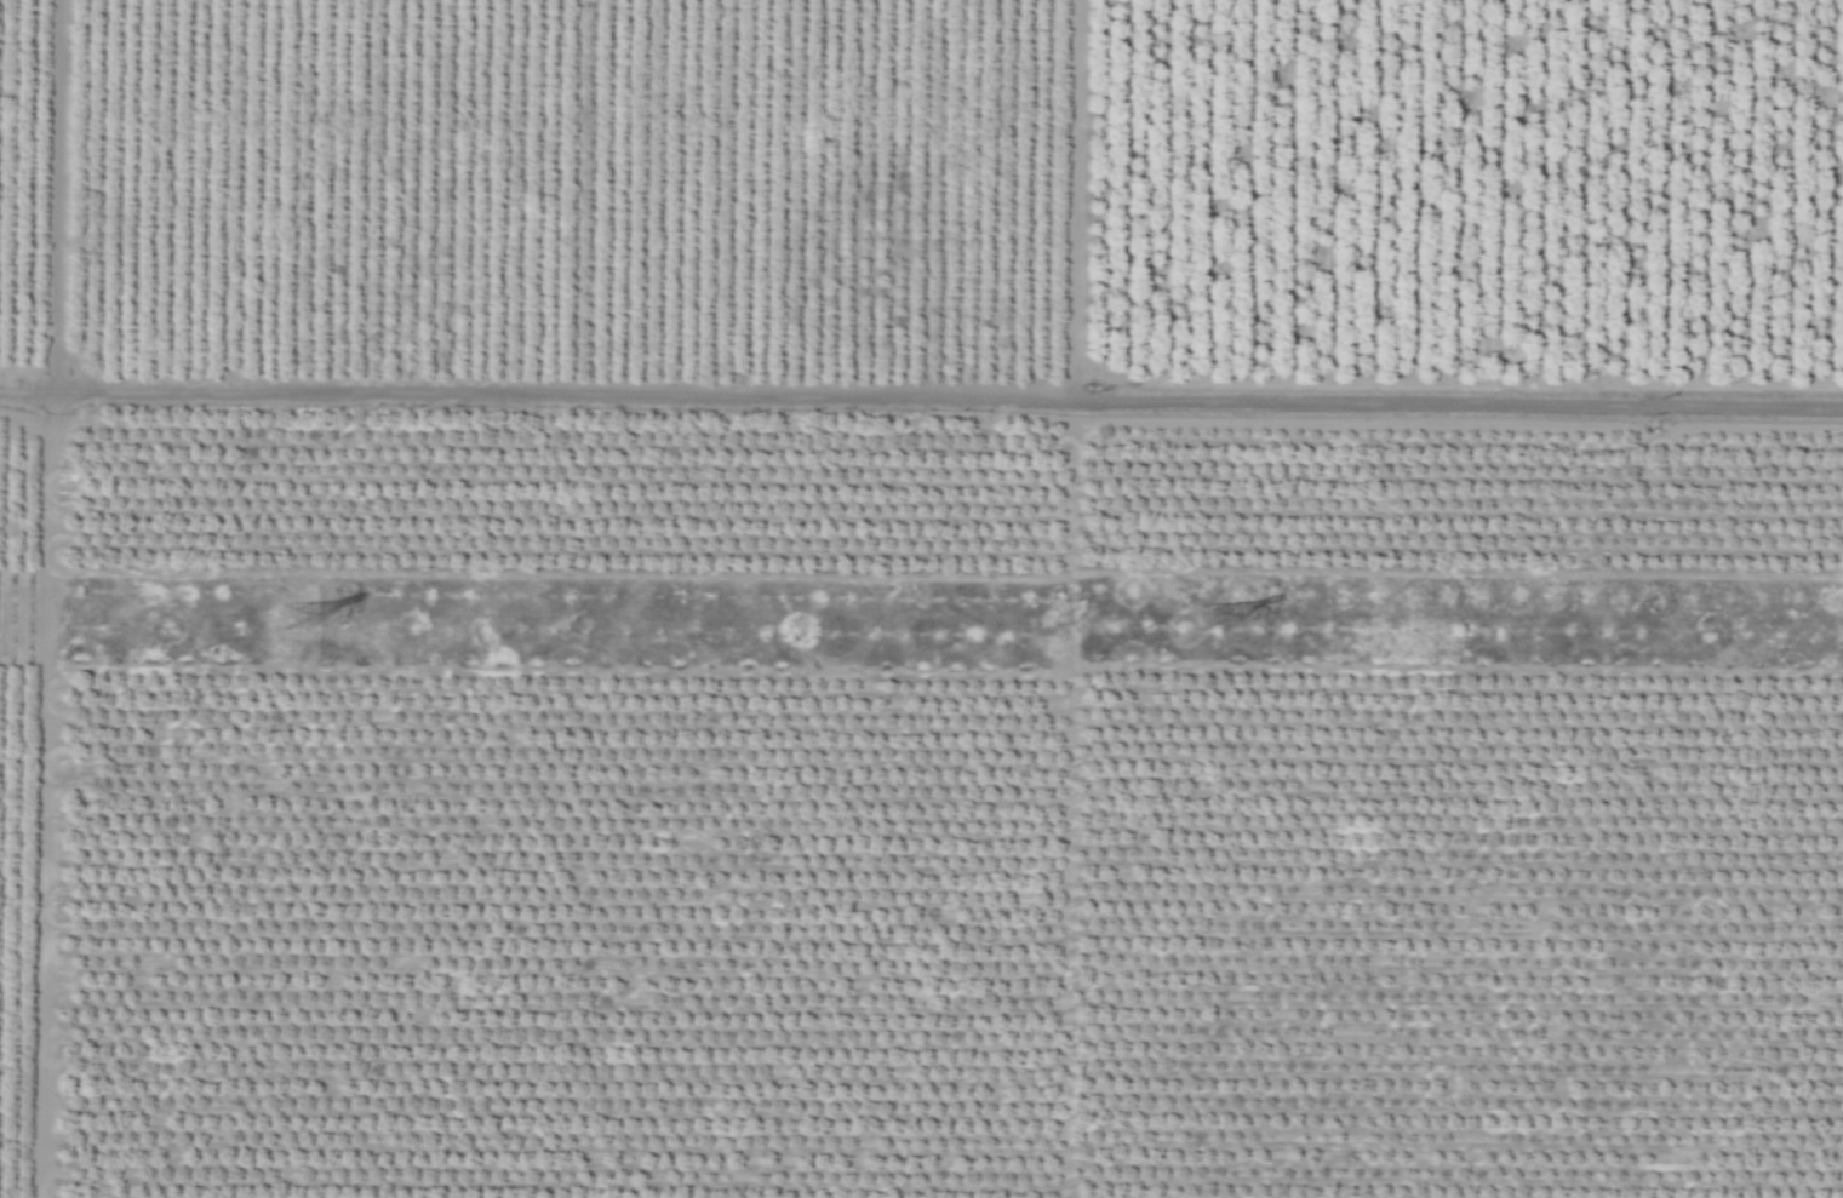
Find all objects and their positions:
road: (51, 195)
road: (921, 396)
power tower: (286, 615)
power tower: (1212, 617)
road: (44, 795)

